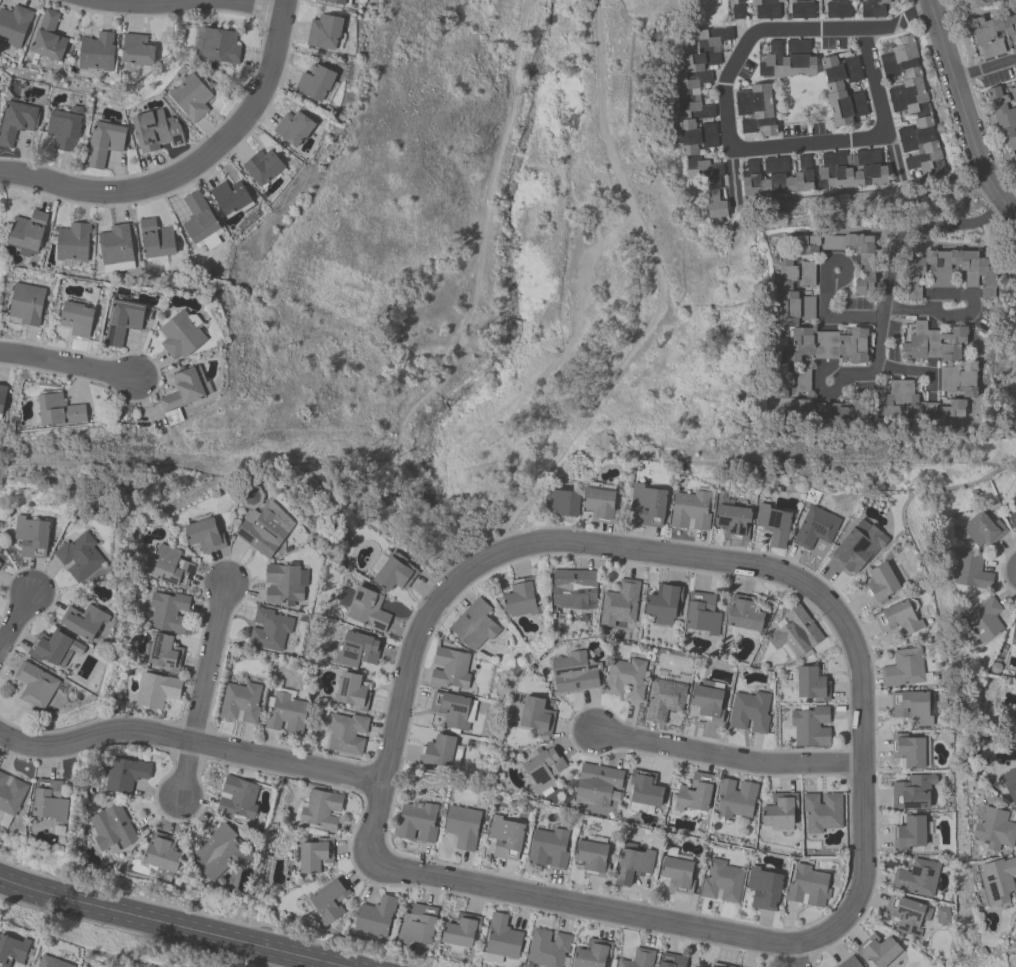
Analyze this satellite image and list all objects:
building: (337, 2)
road: (248, 4)
road: (929, 4)
building: (738, 8)
building: (766, 8)
building: (801, 8)
building: (837, 8)
building: (872, 8)
road: (898, 21)
building: (14, 24)
building: (323, 31)
building: (991, 32)
building: (48, 37)
road: (941, 42)
building: (219, 45)
building: (136, 50)
building: (96, 52)
building: (790, 58)
road: (984, 67)
building: (314, 82)
building: (842, 89)
building: (190, 96)
building: (912, 106)
building: (755, 109)
building: (699, 114)
building: (1004, 116)
building: (16, 121)
building: (64, 128)
building: (292, 128)
building: (155, 130)
road: (971, 139)
building: (104, 143)
road: (740, 148)
road: (190, 165)
building: (262, 166)
building: (851, 173)
building: (231, 198)
road: (1008, 205)
road: (1015, 211)
road: (1015, 212)
building: (200, 222)
building: (26, 233)
building: (155, 241)
road: (895, 243)
building: (72, 244)
building: (115, 245)
building: (865, 259)
road: (843, 260)
building: (947, 270)
park: (490, 284)
building: (783, 288)
building: (25, 304)
road: (955, 309)
road: (832, 316)
building: (76, 318)
building: (122, 320)
building: (181, 335)
building: (932, 343)
building: (815, 355)
road: (913, 366)
road: (68, 367)
road: (858, 374)
building: (959, 378)
building: (180, 395)
road: (818, 395)
building: (2, 396)
building: (914, 403)
building: (828, 408)
building: (58, 410)
building: (561, 502)
building: (599, 503)
building: (646, 504)
building: (689, 510)
building: (1013, 514)
building: (732, 522)
building: (772, 524)
building: (814, 527)
building: (982, 530)
building: (260, 532)
building: (204, 534)
building: (31, 536)
building: (858, 546)
building: (79, 556)
road: (474, 562)
building: (0, 566)
building: (169, 566)
building: (392, 571)
building: (971, 571)
building: (880, 583)
building: (285, 584)
building: (573, 587)
building: (519, 596)
building: (619, 603)
building: (662, 603)
building: (366, 609)
building: (168, 611)
building: (701, 613)
building: (743, 613)
building: (898, 617)
building: (984, 620)
road: (14, 621)
building: (83, 621)
building: (473, 624)
building: (272, 631)
building: (795, 632)
building: (1013, 640)
building: (54, 648)
building: (357, 649)
building: (164, 652)
building: (903, 668)
building: (449, 669)
building: (574, 672)
building: (625, 678)
building: (811, 684)
building: (34, 685)
building: (156, 690)
building: (352, 692)
road: (198, 695)
building: (663, 699)
building: (707, 699)
building: (240, 702)
building: (910, 707)
building: (453, 709)
building: (748, 711)
building: (285, 712)
building: (536, 715)
building: (810, 725)
building: (346, 733)
road: (190, 737)
building: (908, 750)
building: (436, 752)
road: (728, 755)
building: (542, 770)
building: (124, 774)
building: (1009, 783)
building: (597, 784)
building: (643, 791)
building: (912, 791)
building: (694, 793)
building: (10, 798)
building: (237, 798)
building: (734, 798)
building: (49, 800)
building: (318, 810)
building: (778, 811)
building: (821, 811)
building: (416, 822)
building: (462, 826)
building: (111, 828)
building: (994, 829)
building: (910, 831)
building: (505, 837)
building: (548, 848)
building: (161, 852)
building: (218, 852)
building: (314, 854)
building: (591, 856)
building: (632, 863)
building: (676, 872)
building: (916, 877)
building: (998, 880)
building: (721, 881)
building: (807, 886)
building: (763, 888)
building: (328, 900)
building: (907, 914)
building: (940, 915)
building: (374, 918)
road: (170, 925)
building: (416, 927)
building: (460, 933)
building: (501, 939)
building: (548, 948)
building: (12, 950)
building: (877, 950)
building: (592, 953)
building: (638, 958)
road: (796, 959)
building: (671, 960)
building: (51, 962)
building: (849, 962)
building: (719, 965)

